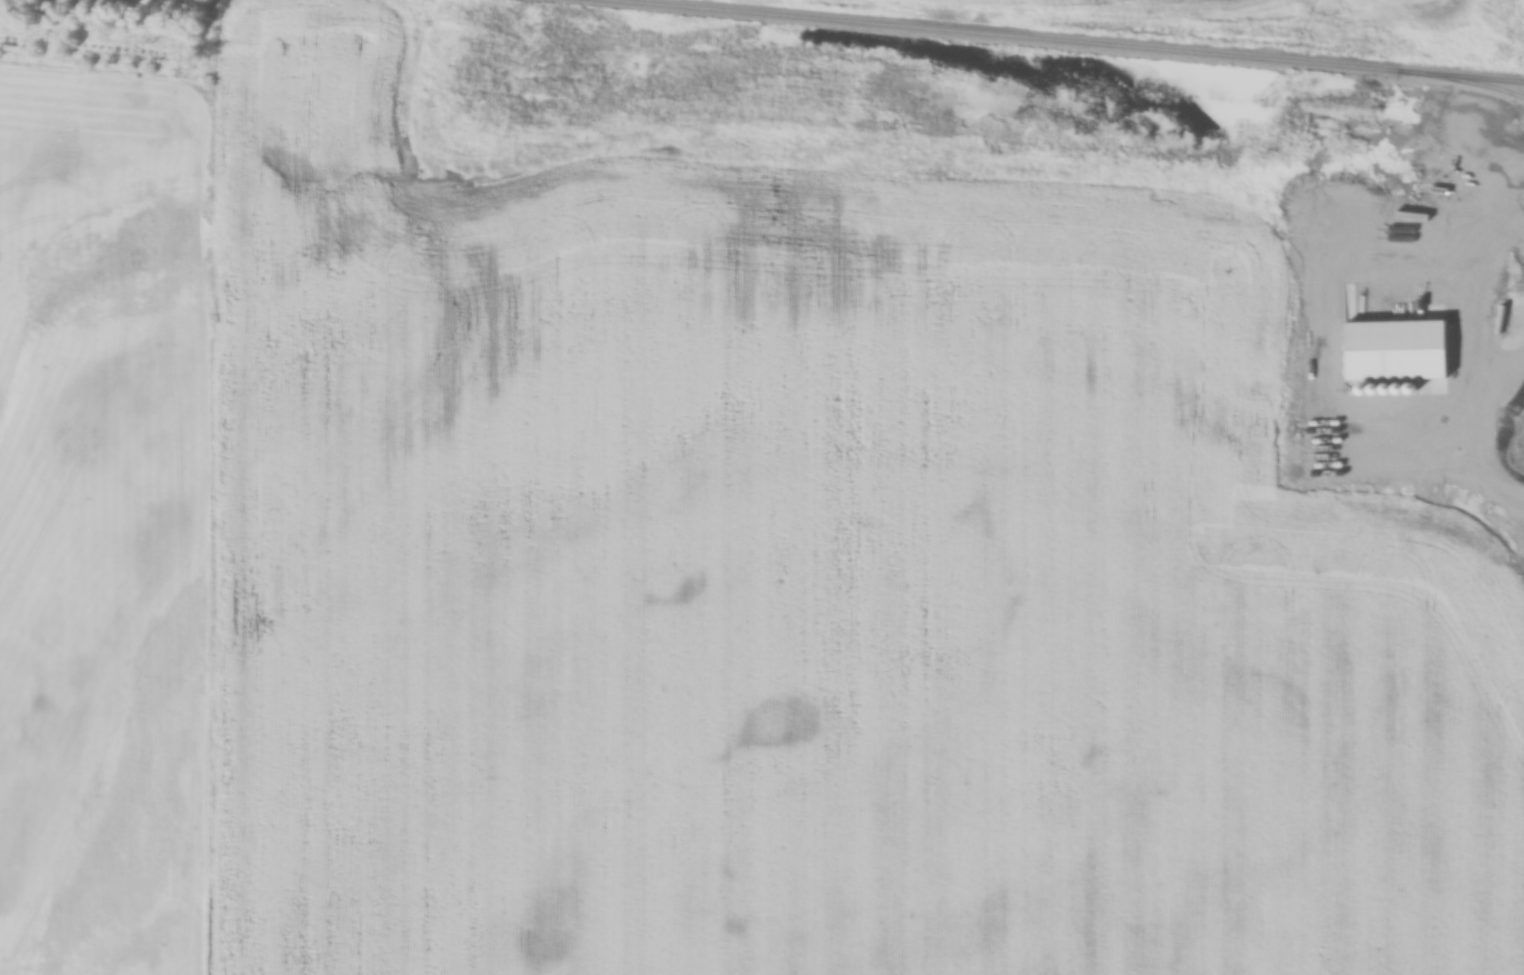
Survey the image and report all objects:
railway: (1065, 41)
railway: (1472, 82)
building: (1500, 328)
road: (1477, 362)

